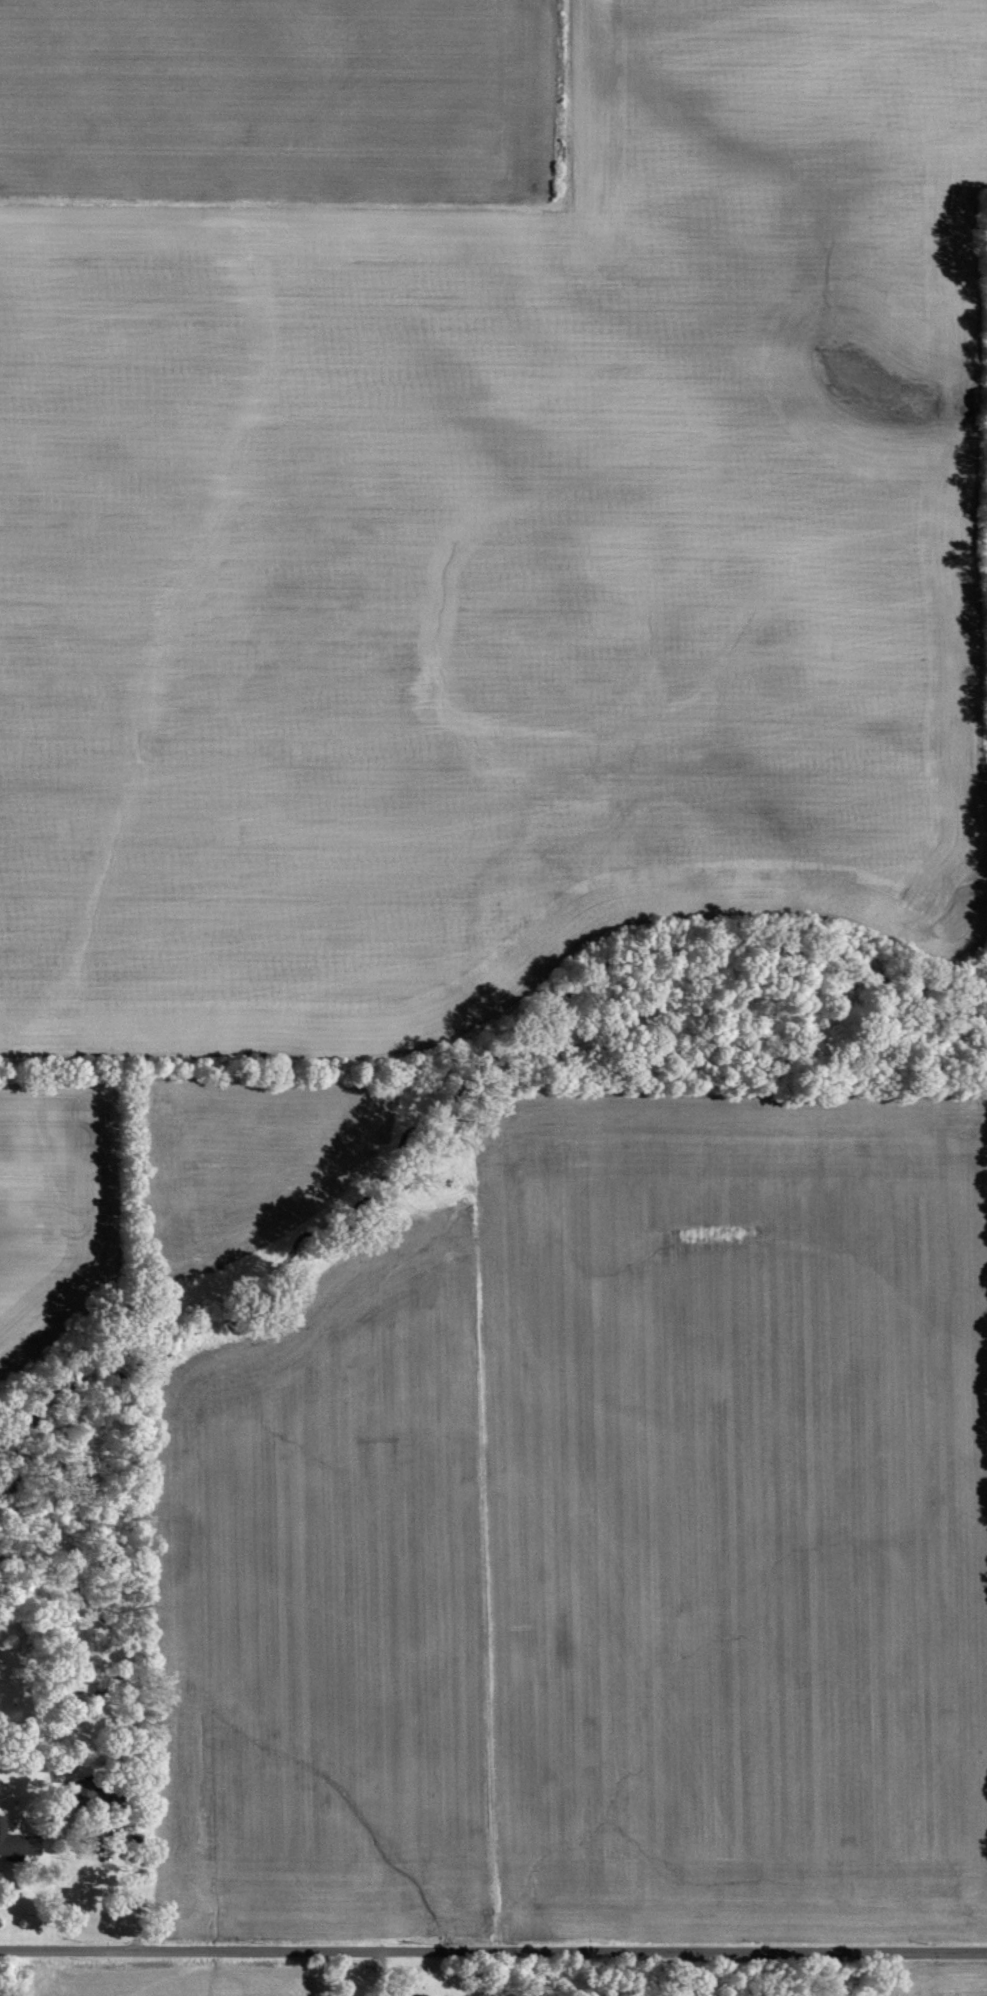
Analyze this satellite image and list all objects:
building: (94, 1789)
building: (17, 1842)
road: (131, 1873)
road: (493, 1949)

